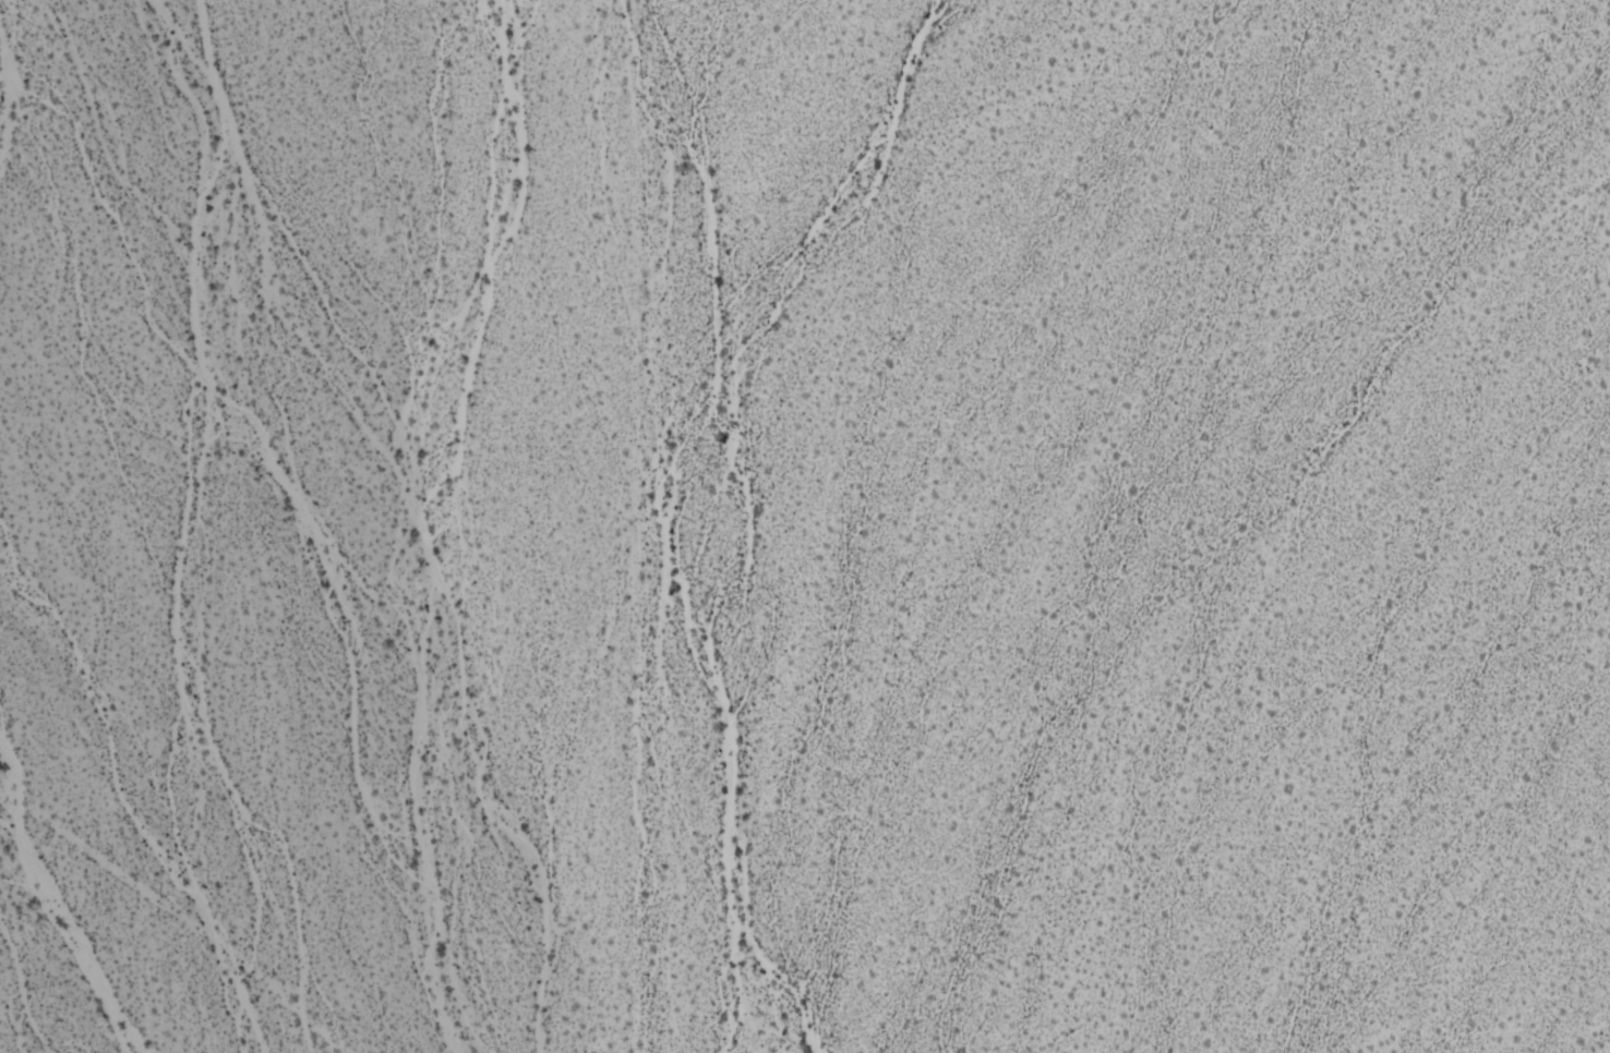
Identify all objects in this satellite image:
road: (180, 919)

